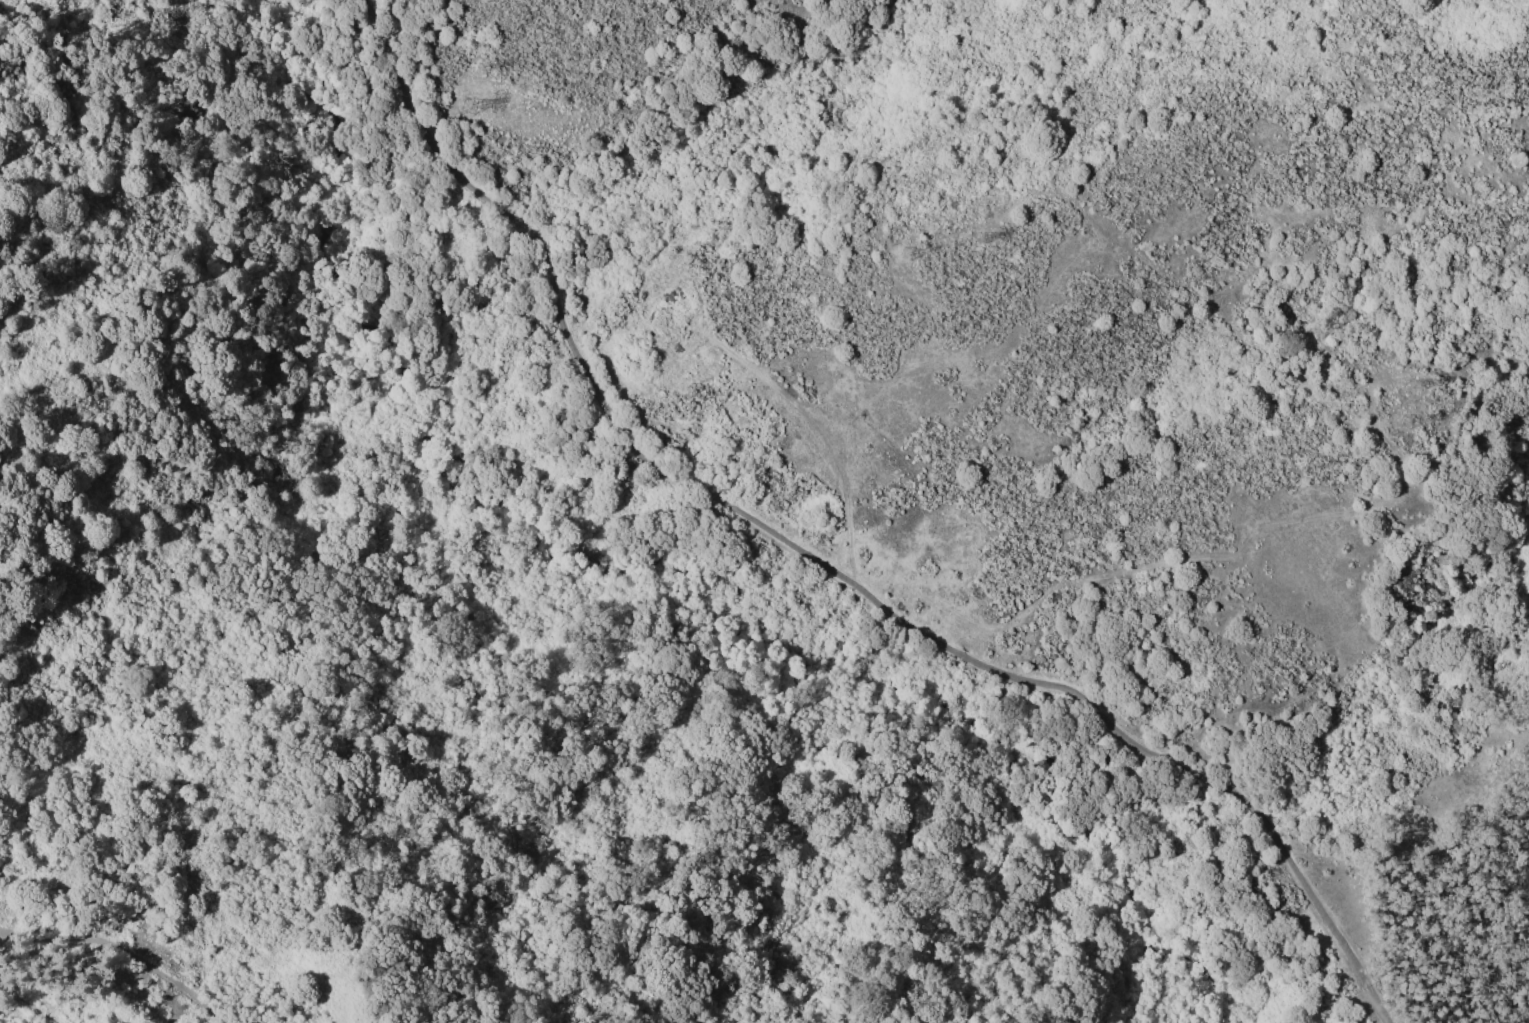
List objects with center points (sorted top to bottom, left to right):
power tower: (475, 68)
power tower: (463, 106)
power tower: (986, 233)
power tower: (905, 254)
power tower: (1422, 384)
power tower: (1405, 423)
road: (822, 564)
road: (2, 927)
road: (124, 944)

